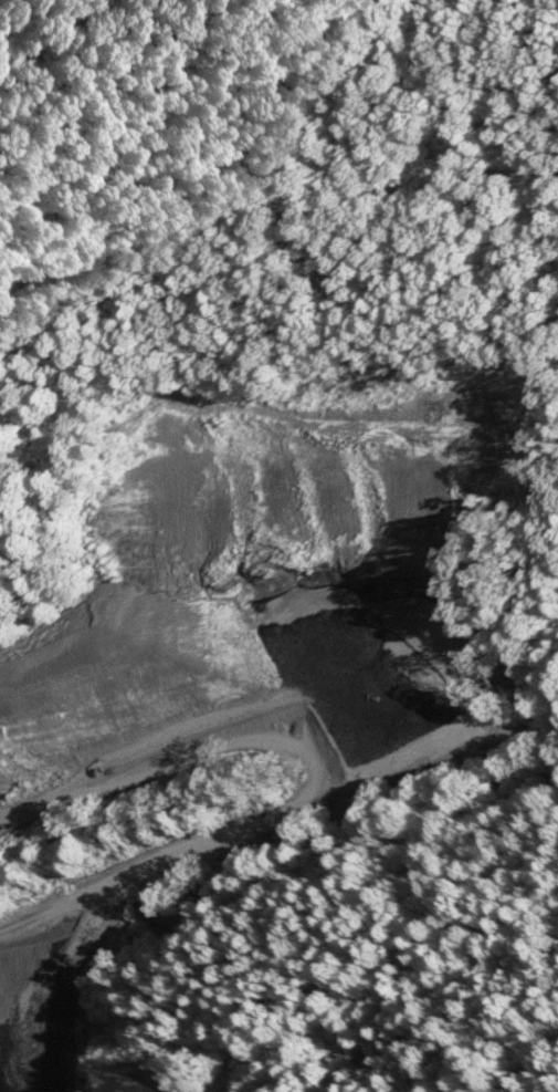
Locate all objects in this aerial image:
road: (263, 159)

